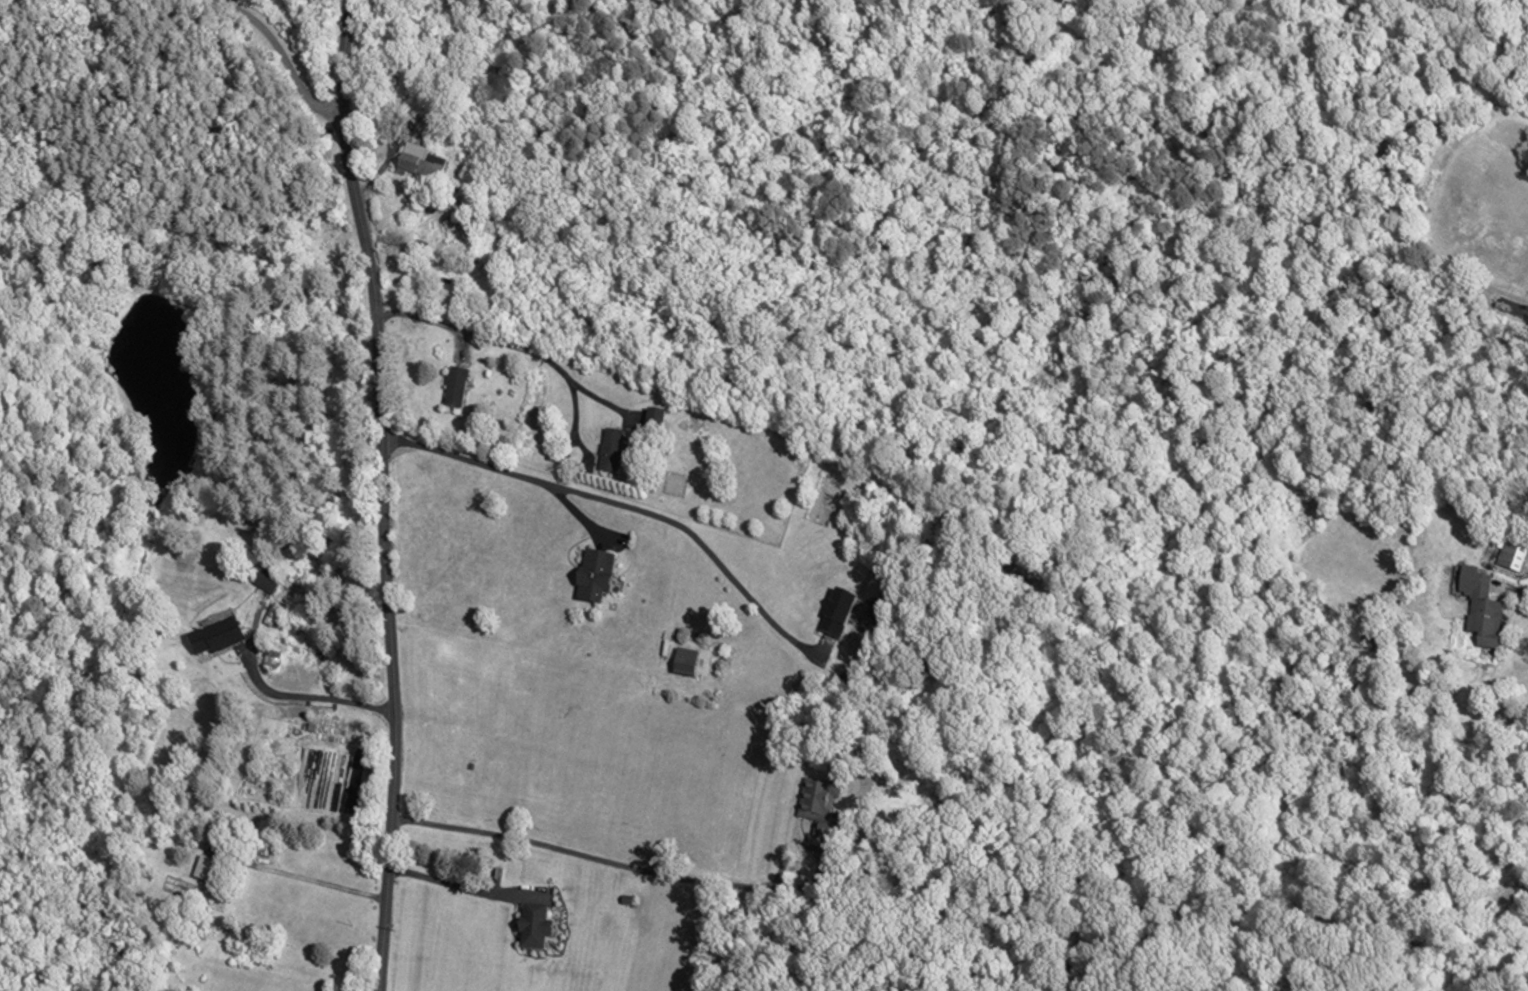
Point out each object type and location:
road: (280, 53)
building: (419, 168)
building: (1501, 306)
road: (471, 333)
building: (453, 385)
building: (653, 417)
building: (610, 447)
road: (381, 494)
road: (623, 507)
road: (574, 511)
building: (1513, 552)
building: (586, 574)
building: (268, 579)
building: (258, 581)
road: (1517, 590)
building: (1481, 605)
building: (837, 612)
building: (217, 634)
building: (683, 661)
road: (306, 697)
building: (819, 804)
building: (251, 834)
road: (807, 846)
building: (262, 850)
building: (253, 852)
road: (598, 859)
building: (204, 867)
road: (312, 880)
road: (462, 887)
building: (532, 926)

